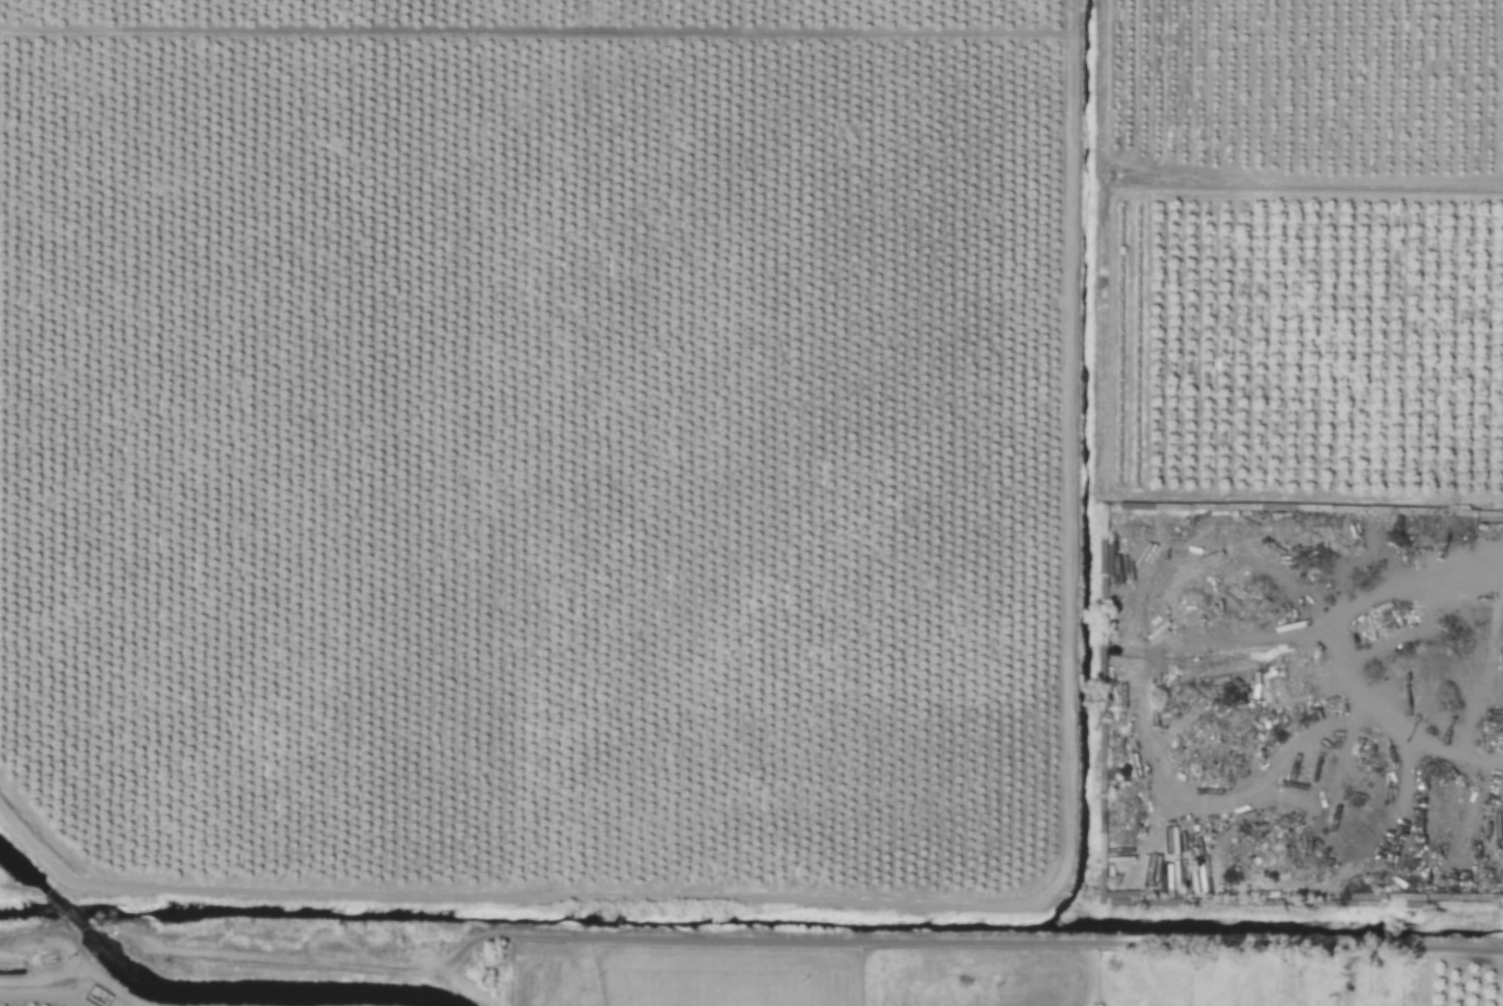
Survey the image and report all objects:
road: (24, 944)
road: (95, 972)

